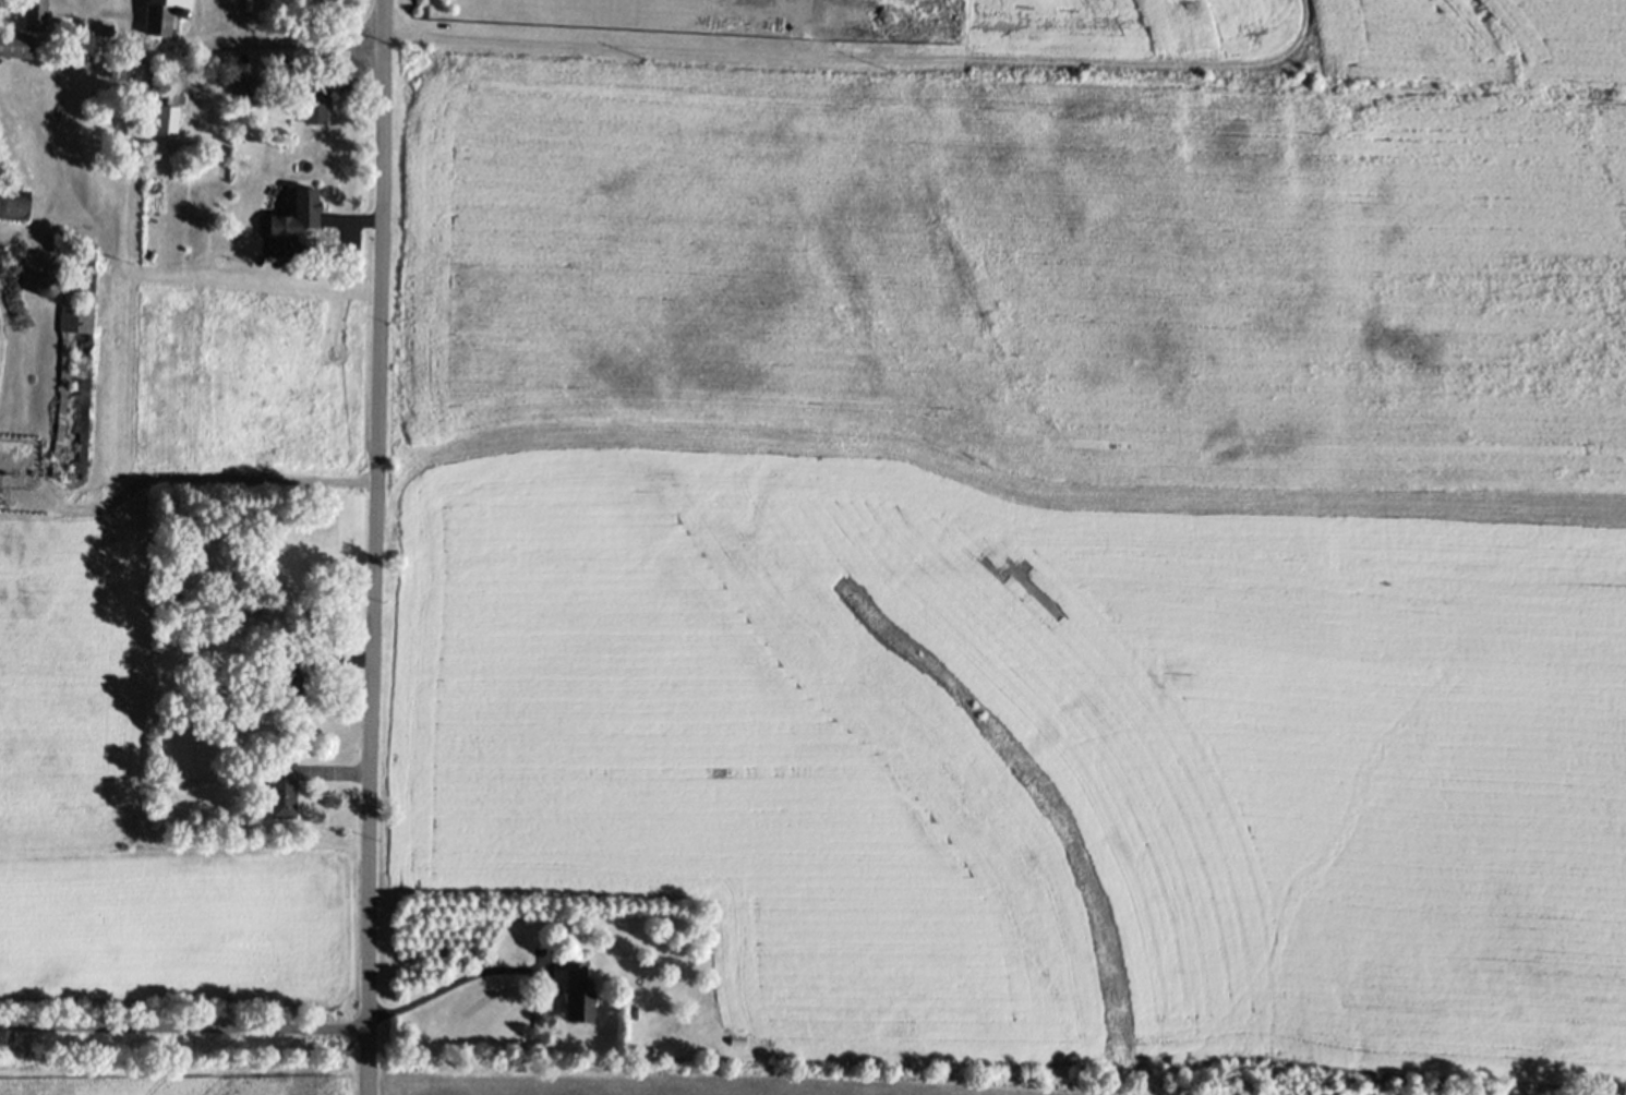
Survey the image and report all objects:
building: (35, 14)
building: (161, 15)
road: (580, 43)
building: (16, 46)
road: (159, 56)
building: (242, 85)
building: (315, 101)
building: (160, 105)
building: (13, 204)
building: (297, 214)
building: (45, 288)
building: (79, 318)
road: (375, 547)
building: (255, 610)
building: (290, 674)
building: (281, 789)
building: (166, 815)
road: (450, 983)
building: (577, 994)
road: (184, 1027)

